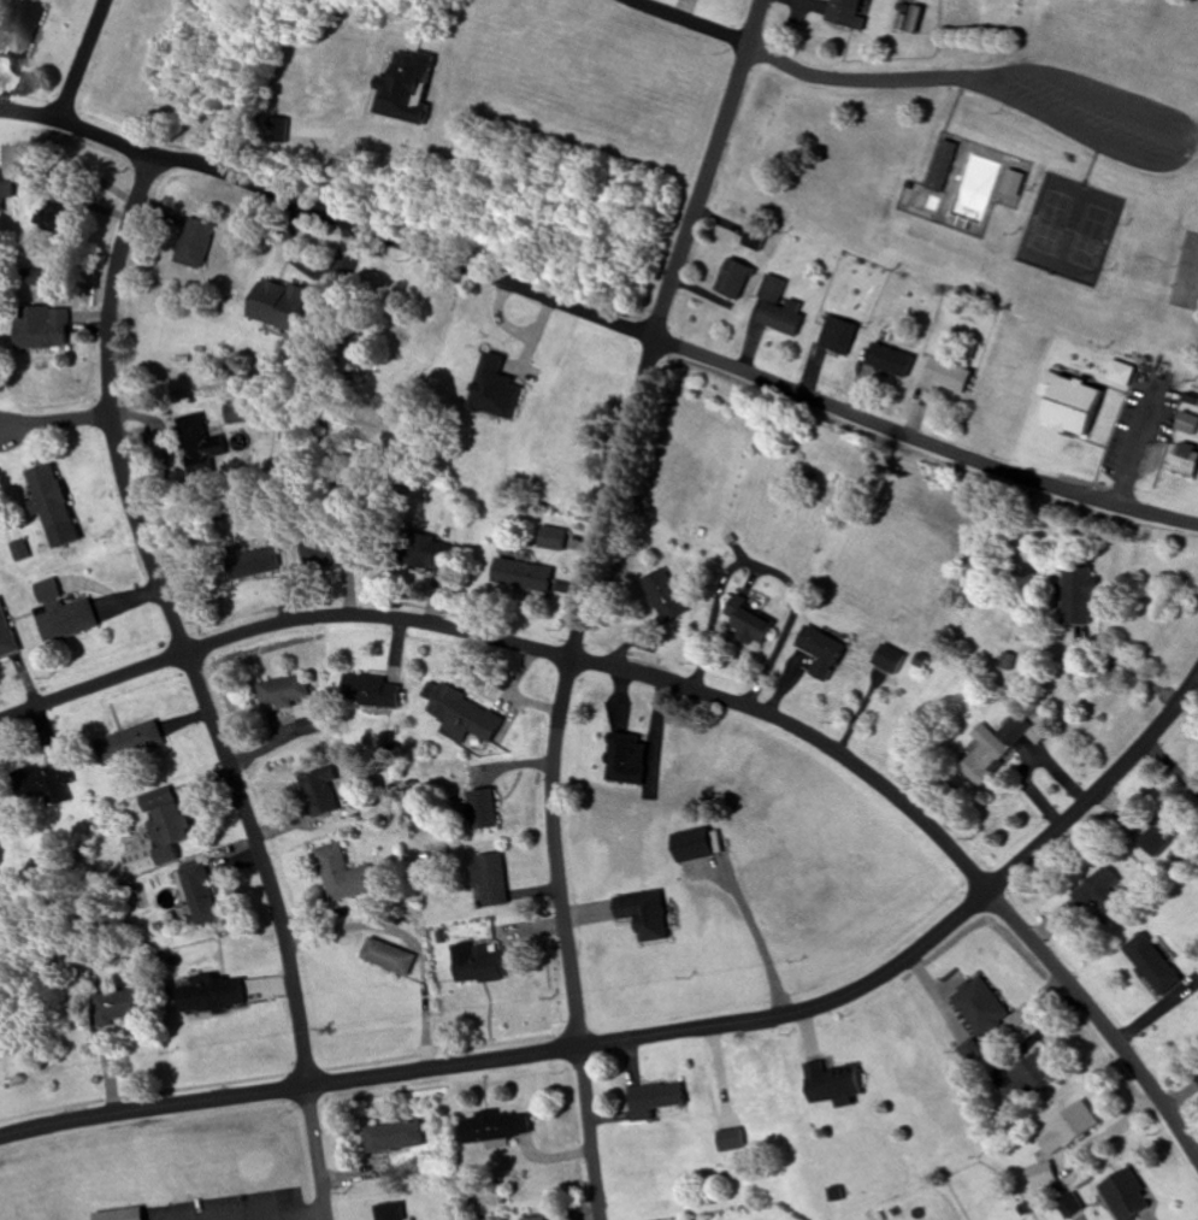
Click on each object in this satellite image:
building: (846, 12)
road: (760, 23)
building: (22, 29)
road: (83, 60)
road: (802, 69)
road: (1181, 143)
building: (942, 166)
building: (6, 187)
building: (1010, 189)
building: (55, 216)
park: (1070, 229)
building: (194, 242)
road: (306, 271)
park: (1186, 273)
building: (734, 281)
building: (277, 303)
building: (779, 308)
road: (597, 318)
building: (41, 328)
building: (846, 340)
building: (898, 366)
building: (1121, 373)
building: (949, 378)
building: (492, 389)
building: (1080, 411)
road: (55, 420)
building: (1188, 424)
building: (196, 446)
building: (1186, 460)
building: (47, 497)
building: (548, 538)
building: (320, 548)
building: (426, 553)
building: (249, 564)
building: (519, 576)
building: (1079, 594)
building: (662, 595)
building: (60, 614)
road: (576, 621)
building: (749, 623)
building: (6, 636)
building: (822, 652)
building: (889, 659)
road: (191, 686)
road: (686, 688)
building: (281, 690)
building: (371, 690)
building: (461, 717)
building: (301, 719)
building: (125, 743)
building: (993, 747)
building: (41, 782)
building: (317, 791)
building: (480, 809)
building: (159, 831)
building: (1163, 832)
building: (696, 844)
building: (340, 874)
building: (488, 878)
building: (197, 894)
building: (1103, 895)
building: (647, 914)
building: (384, 957)
building: (1152, 965)
building: (486, 966)
building: (211, 995)
building: (120, 1006)
building: (980, 1006)
road: (660, 1036)
building: (972, 1050)
building: (1032, 1077)
building: (833, 1083)
building: (657, 1098)
building: (495, 1128)
building: (1069, 1128)
building: (393, 1137)
building: (731, 1139)
building: (1041, 1175)
building: (1126, 1196)
building: (1067, 1208)
building: (390, 1212)
building: (120, 1214)
road: (246, 1214)
road: (223, 1219)
building: (538, 1219)

